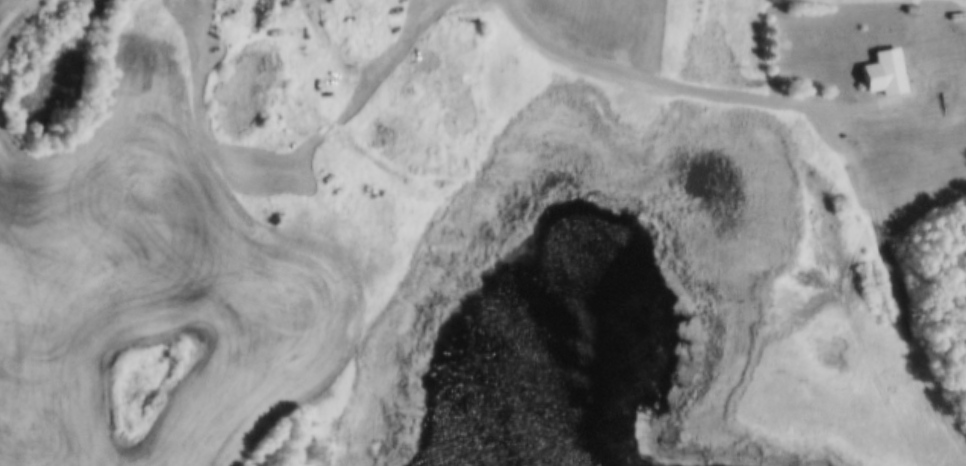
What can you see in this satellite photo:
building: (909, 6)
building: (634, 17)
building: (880, 70)
road: (650, 80)
road: (901, 274)

